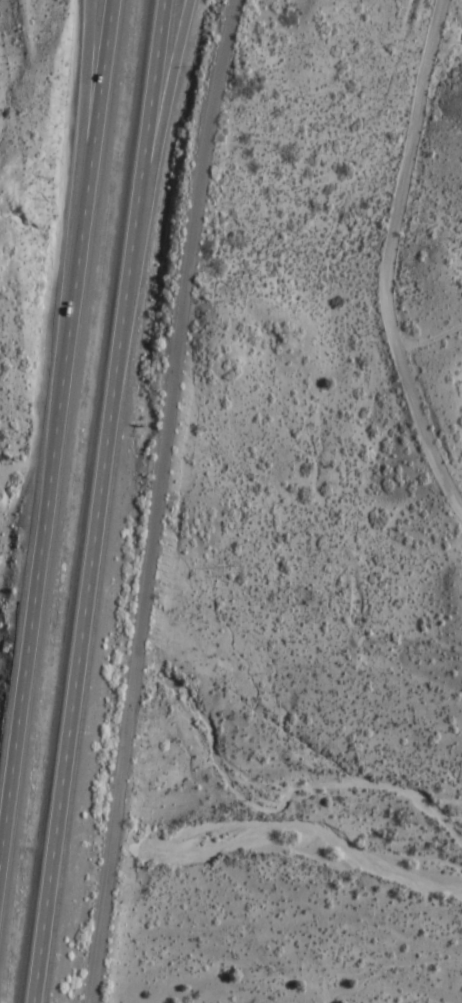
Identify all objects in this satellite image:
road: (152, 167)
road: (79, 171)
road: (394, 261)
road: (56, 424)
road: (157, 500)
road: (97, 501)
river: (297, 836)
river: (63, 838)

